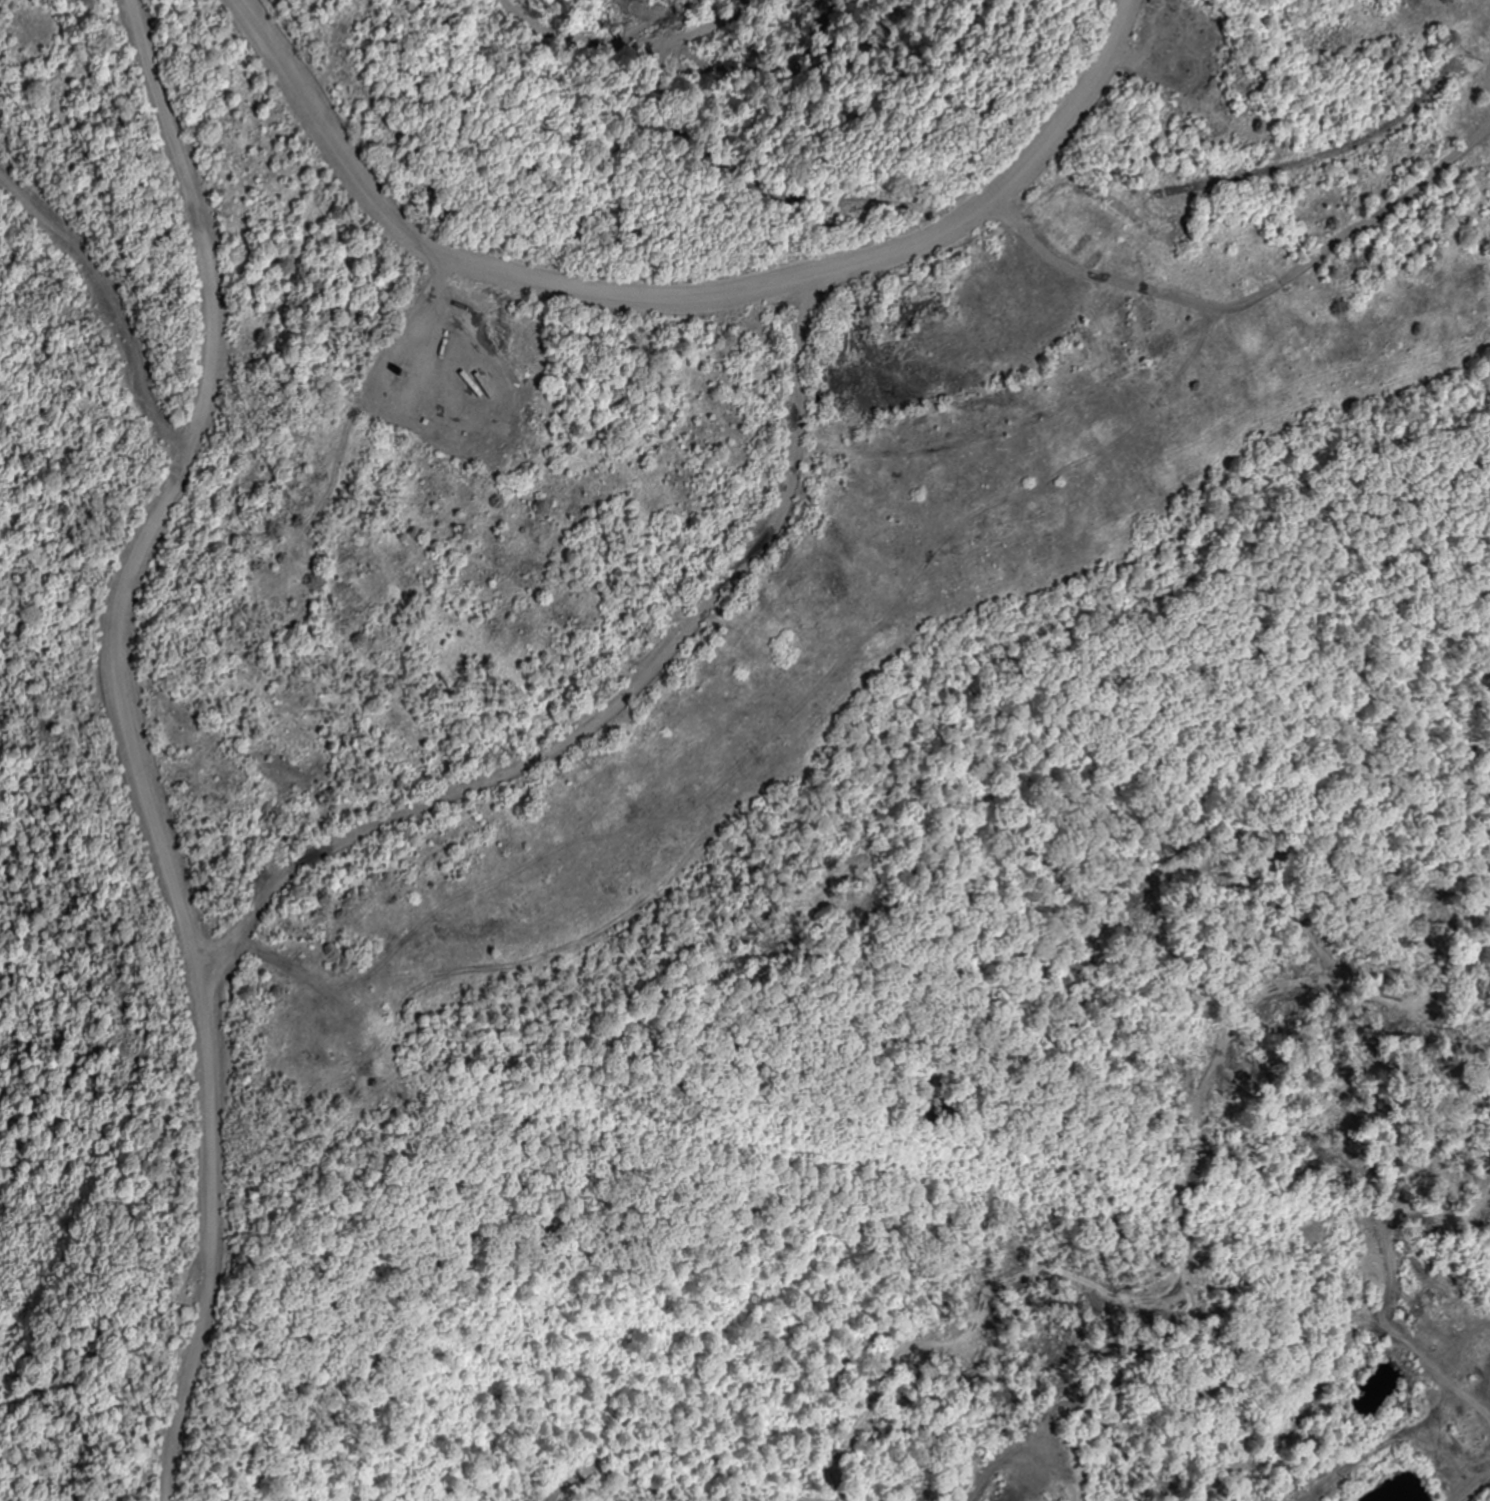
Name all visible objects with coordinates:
road: (1328, 1376)
building: (1046, 1494)

